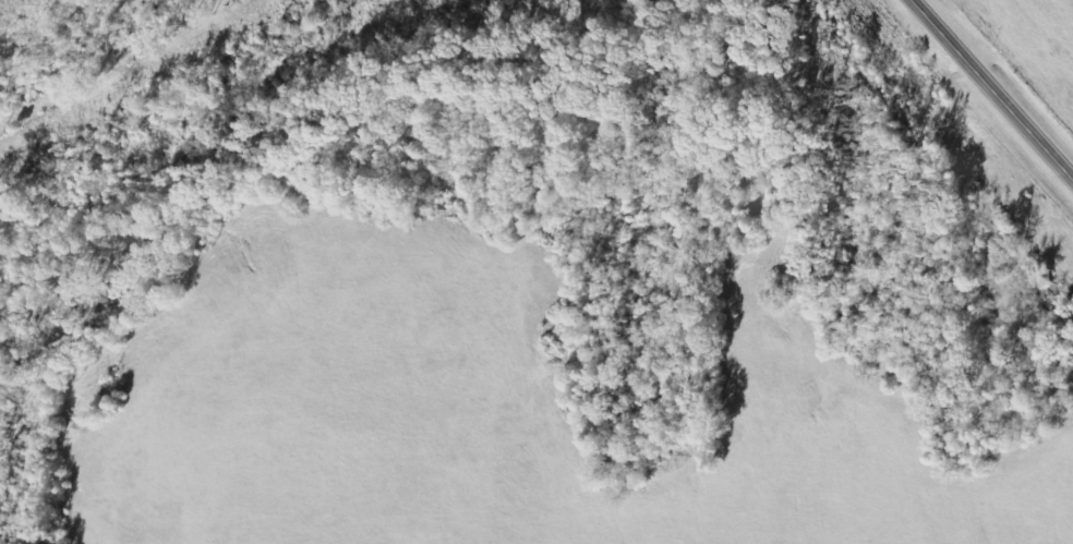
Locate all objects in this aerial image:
road: (992, 90)

